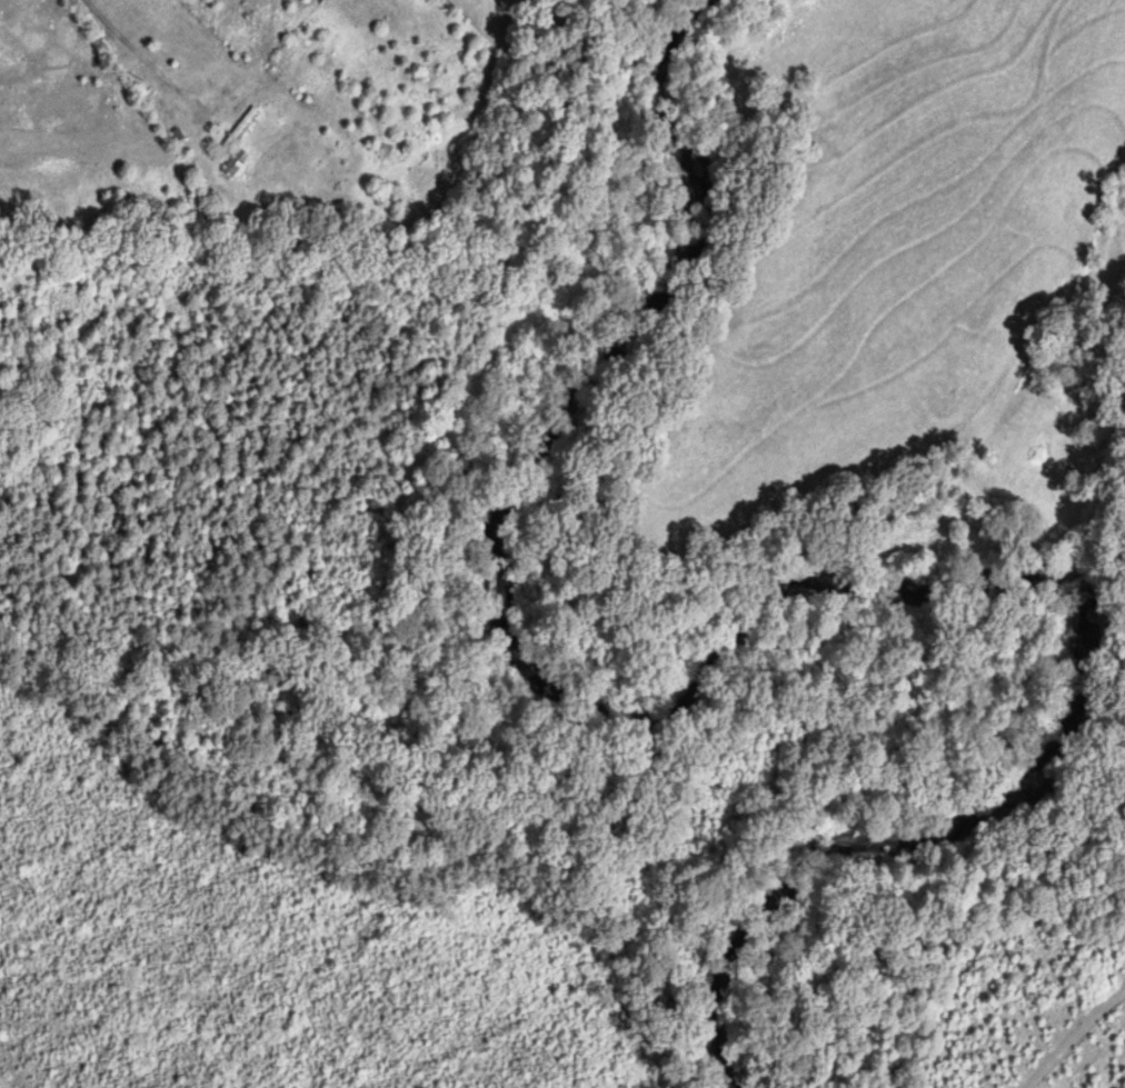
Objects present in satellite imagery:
road: (141, 57)
building: (239, 131)
building: (233, 164)

